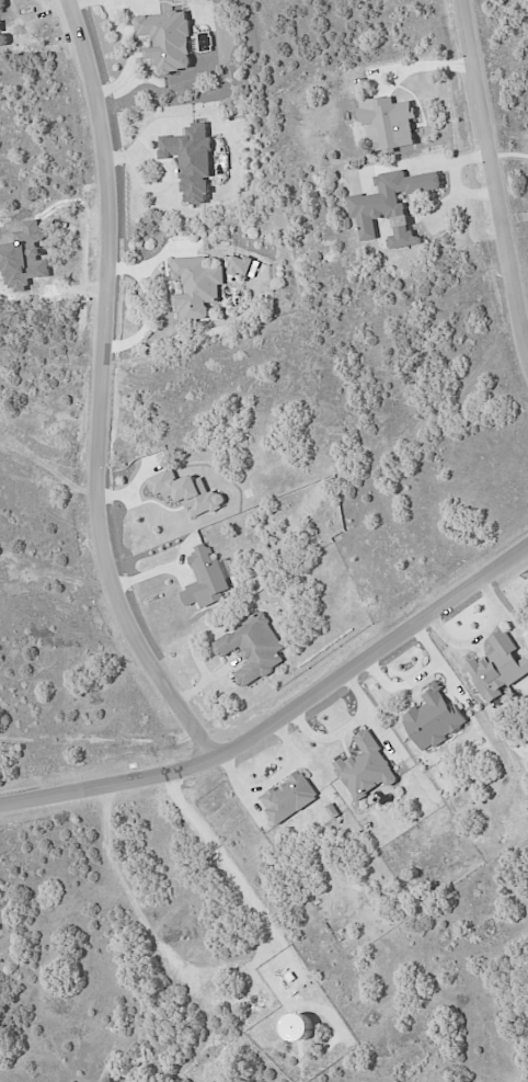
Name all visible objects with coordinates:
building: (168, 41)
road: (431, 61)
building: (389, 123)
road: (454, 159)
building: (192, 160)
road: (493, 174)
road: (464, 187)
building: (391, 206)
building: (243, 266)
building: (197, 287)
road: (102, 390)
building: (186, 491)
building: (207, 579)
building: (253, 648)
building: (498, 668)
road: (282, 714)
building: (433, 719)
building: (366, 767)
building: (289, 797)

